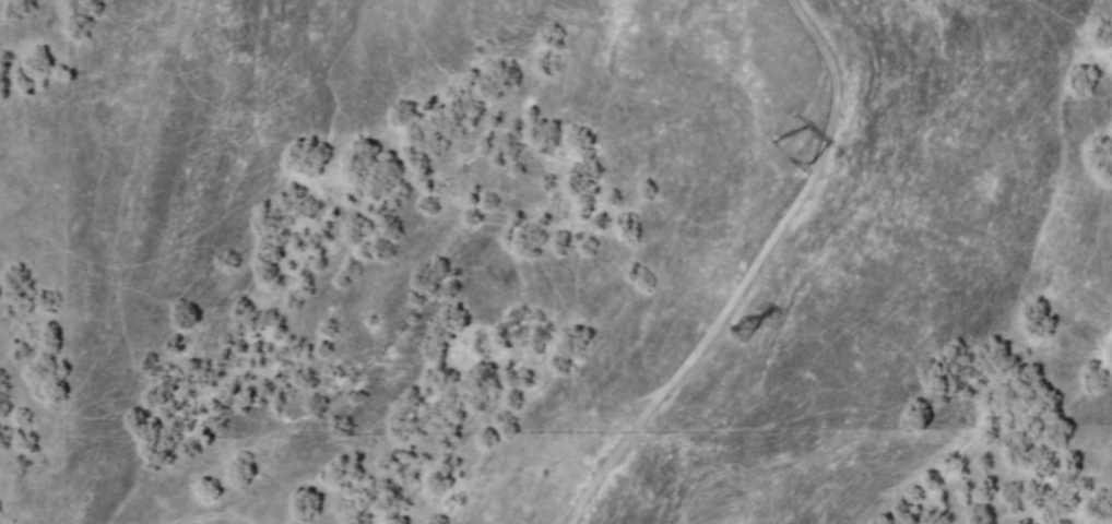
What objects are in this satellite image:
power tower: (788, 145)
road: (744, 274)
power tower: (742, 315)

